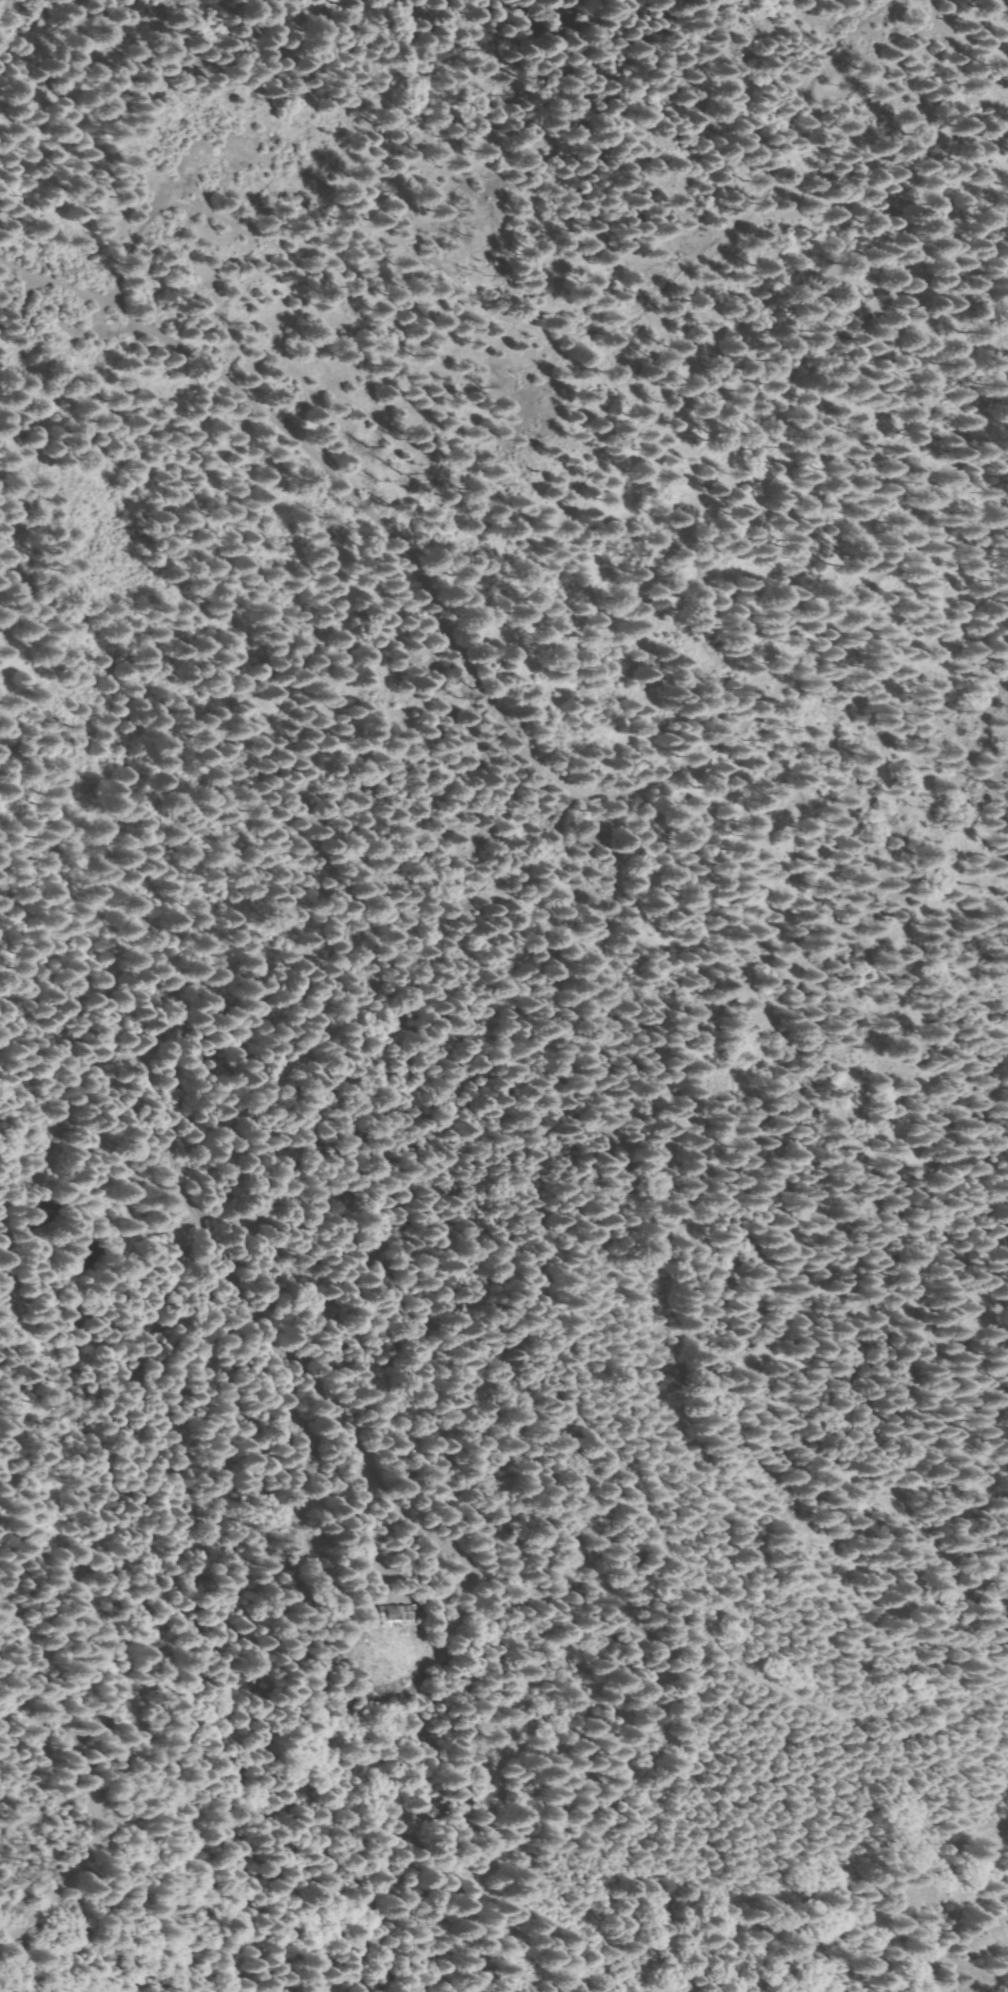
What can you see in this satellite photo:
road: (536, 529)
crop: (621, 1152)

